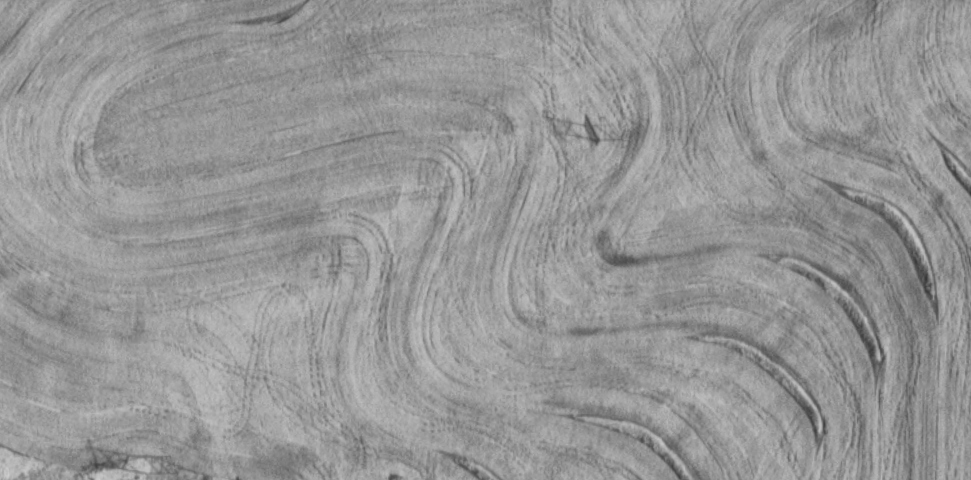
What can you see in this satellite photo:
power tower: (593, 131)
power tower: (145, 459)

